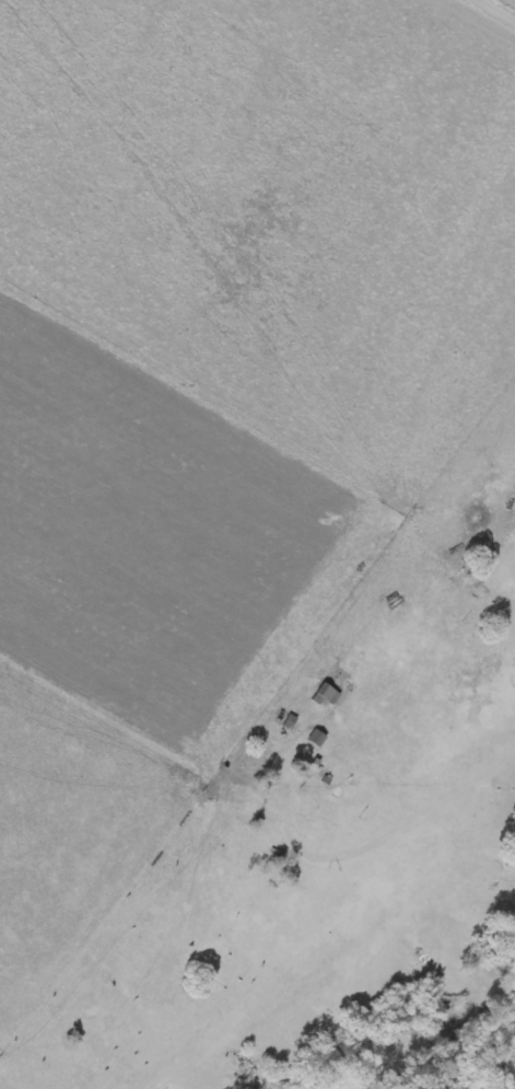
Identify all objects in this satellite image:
road: (507, 3)
road: (377, 824)

